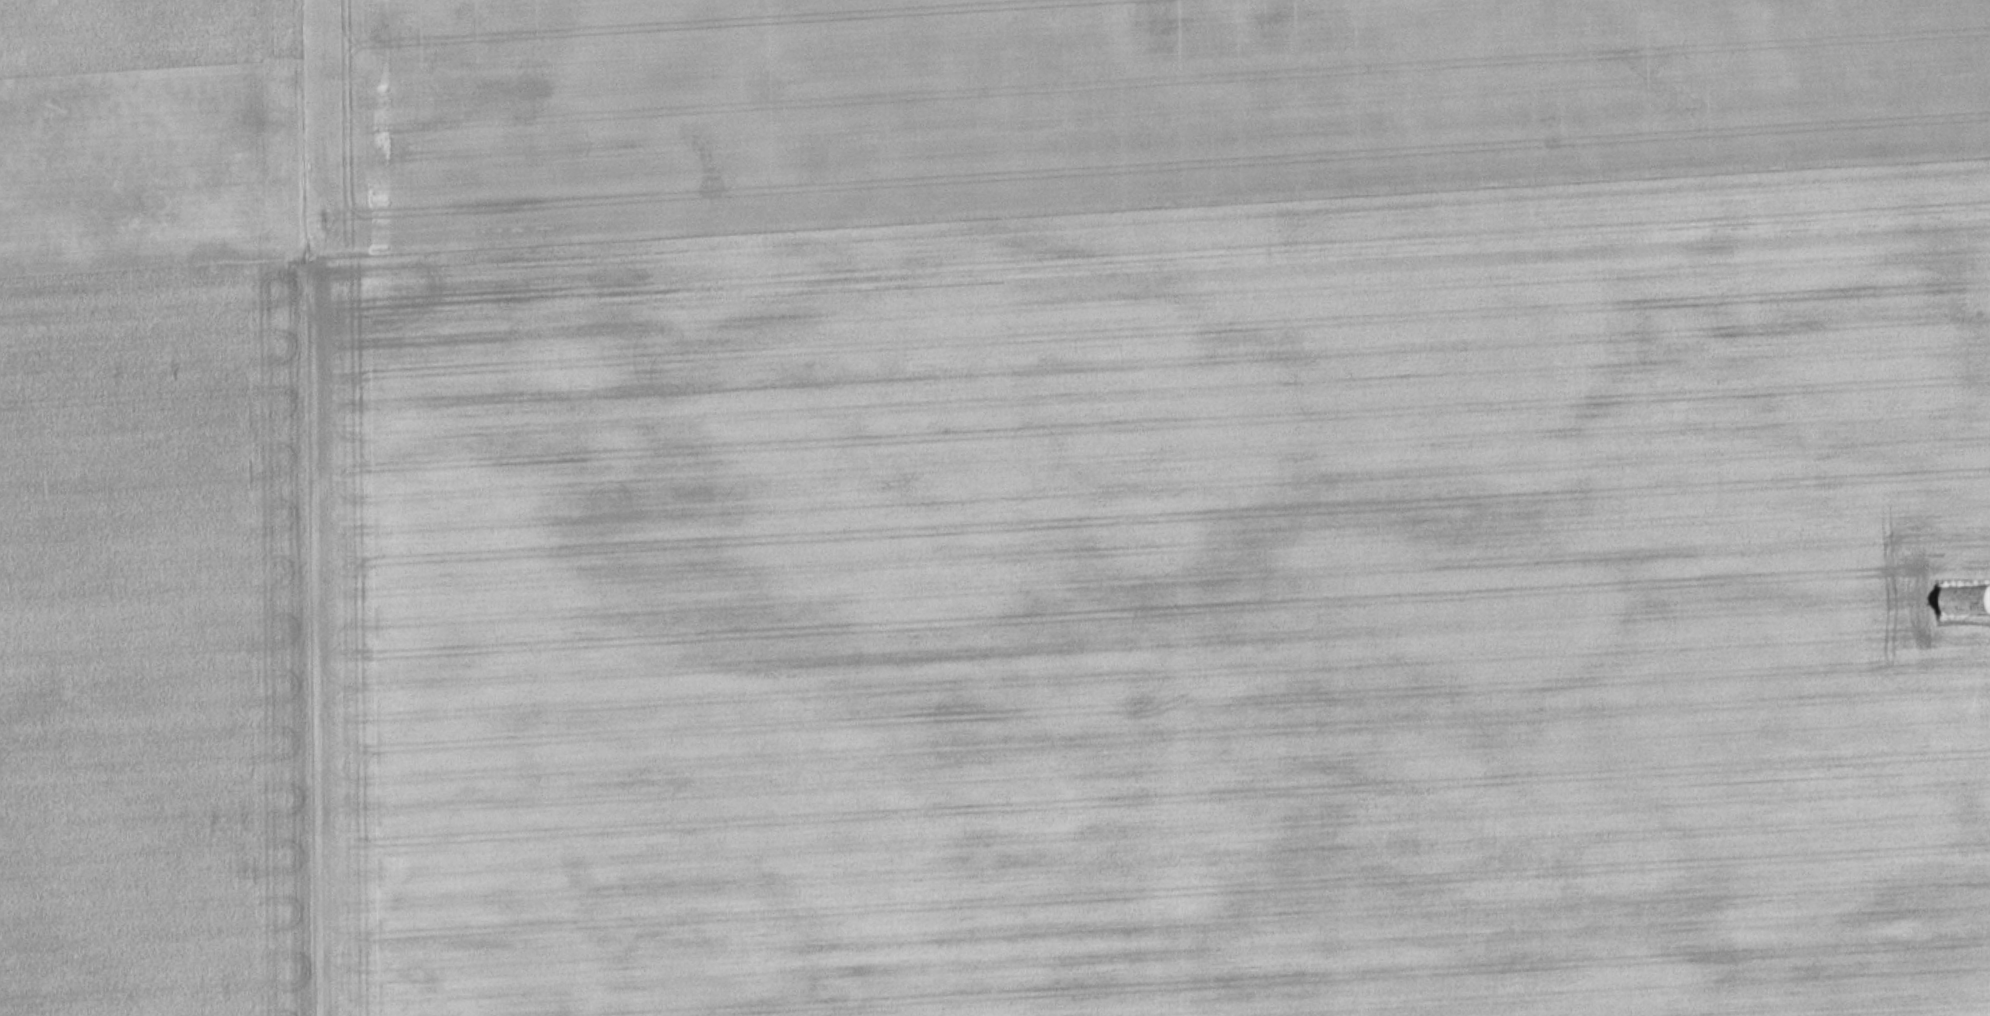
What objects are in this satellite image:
building: (1968, 602)

